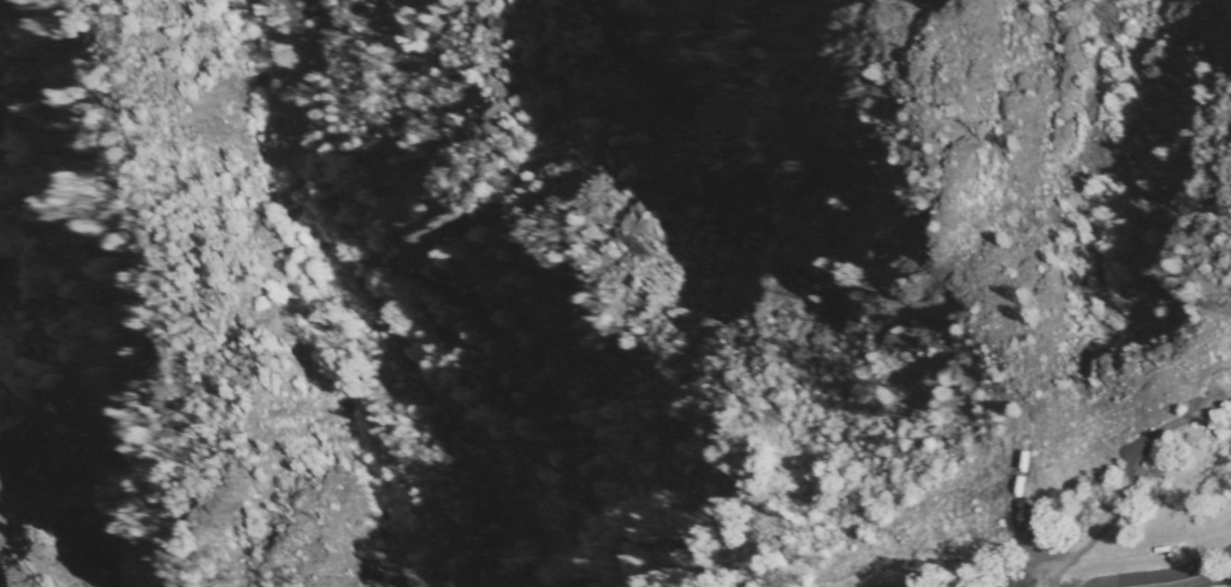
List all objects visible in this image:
road: (1130, 470)
road: (1142, 558)
road: (1052, 581)

